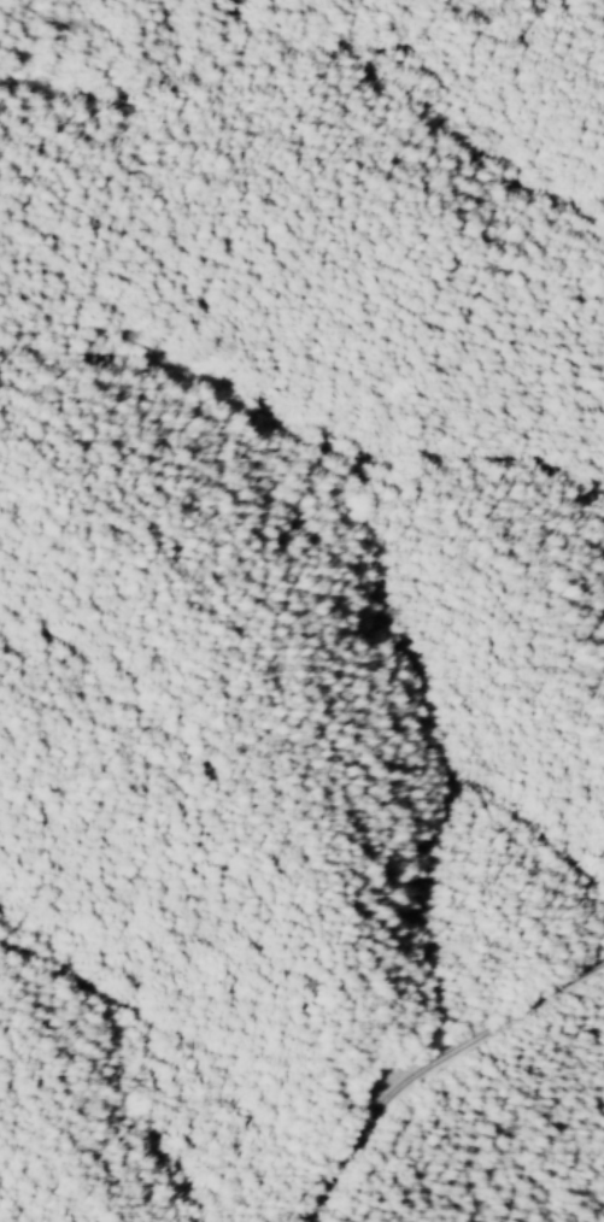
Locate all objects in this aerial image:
road: (429, 1068)

